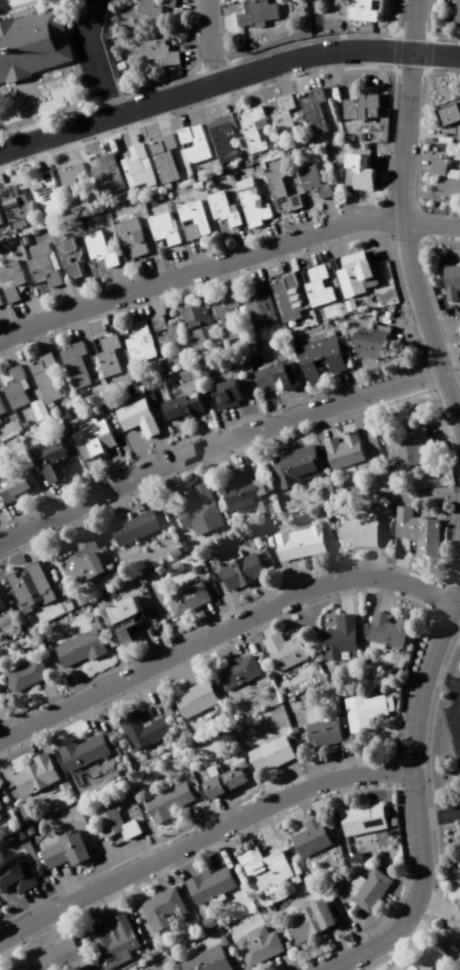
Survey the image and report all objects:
building: (156, 7)
building: (363, 11)
building: (259, 13)
building: (456, 14)
road: (413, 23)
road: (211, 36)
building: (31, 40)
parking lot: (89, 47)
road: (435, 50)
building: (160, 54)
road: (96, 55)
road: (370, 61)
road: (307, 63)
road: (275, 70)
road: (202, 79)
road: (247, 80)
road: (215, 89)
road: (175, 103)
building: (358, 103)
road: (157, 108)
building: (308, 108)
building: (279, 113)
building: (449, 113)
road: (127, 118)
building: (247, 127)
road: (96, 128)
building: (458, 133)
building: (220, 135)
road: (65, 139)
building: (189, 142)
road: (34, 149)
building: (161, 154)
road: (386, 158)
building: (132, 162)
building: (355, 169)
building: (103, 170)
building: (305, 176)
building: (446, 180)
building: (69, 181)
building: (276, 190)
building: (44, 193)
building: (250, 201)
building: (12, 205)
building: (216, 206)
road: (327, 209)
building: (188, 216)
road: (296, 222)
building: (0, 223)
building: (160, 225)
road: (270, 233)
road: (370, 234)
building: (126, 235)
road: (403, 238)
road: (238, 242)
building: (94, 246)
road: (382, 246)
road: (312, 247)
building: (62, 253)
road: (192, 257)
road: (278, 257)
road: (226, 258)
road: (178, 260)
building: (39, 263)
road: (251, 266)
building: (349, 270)
road: (144, 271)
road: (219, 275)
building: (7, 280)
road: (116, 280)
building: (313, 283)
building: (452, 284)
road: (181, 288)
road: (80, 293)
building: (283, 293)
road: (145, 299)
road: (59, 302)
building: (0, 305)
road: (128, 305)
building: (255, 306)
building: (220, 310)
road: (18, 317)
road: (100, 318)
building: (192, 320)
road: (68, 328)
road: (3, 329)
building: (160, 332)
building: (367, 339)
road: (35, 340)
building: (134, 340)
road: (6, 351)
building: (103, 354)
building: (318, 354)
building: (70, 363)
road: (375, 372)
building: (271, 373)
building: (40, 376)
road: (342, 382)
building: (9, 385)
building: (16, 390)
building: (223, 391)
road: (269, 401)
building: (177, 405)
building: (1, 410)
building: (133, 415)
road: (232, 417)
road: (323, 421)
road: (206, 426)
building: (87, 436)
road: (271, 438)
road: (214, 442)
road: (158, 447)
building: (347, 447)
road: (234, 450)
building: (400, 450)
road: (120, 460)
building: (45, 461)
building: (293, 464)
road: (191, 466)
building: (13, 484)
building: (239, 491)
road: (137, 492)
road: (59, 494)
building: (193, 512)
road: (13, 516)
road: (72, 521)
building: (412, 522)
building: (356, 527)
building: (131, 529)
building: (296, 540)
road: (17, 550)
road: (368, 558)
road: (400, 559)
building: (79, 567)
building: (238, 569)
road: (295, 574)
building: (25, 587)
road: (342, 589)
road: (384, 590)
building: (183, 597)
building: (1, 609)
building: (117, 616)
road: (215, 617)
road: (222, 627)
building: (382, 628)
building: (337, 634)
road: (224, 637)
road: (156, 638)
building: (75, 646)
building: (281, 649)
road: (405, 659)
road: (181, 664)
building: (234, 669)
building: (23, 673)
road: (451, 678)
road: (73, 683)
road: (143, 688)
road: (47, 696)
building: (192, 697)
building: (0, 705)
building: (361, 707)
road: (83, 712)
road: (396, 725)
building: (139, 727)
building: (319, 729)
parking lot: (451, 731)
road: (1, 736)
building: (79, 749)
building: (265, 751)
road: (335, 756)
road: (293, 769)
road: (2, 770)
building: (32, 773)
building: (221, 779)
road: (346, 787)
road: (418, 796)
building: (164, 799)
road: (302, 801)
road: (223, 805)
building: (1, 811)
road: (440, 812)
building: (1, 816)
road: (195, 816)
building: (360, 816)
building: (113, 820)
road: (263, 828)
road: (202, 834)
building: (308, 837)
building: (64, 846)
road: (139, 846)
road: (206, 851)
building: (264, 867)
road: (159, 872)
building: (14, 874)
road: (64, 877)
building: (206, 881)
building: (372, 893)
road: (109, 896)
road: (33, 899)
building: (159, 906)
building: (456, 920)
road: (54, 922)
building: (310, 923)
building: (110, 935)
building: (260, 948)
building: (56, 953)
building: (429, 960)
building: (208, 961)
building: (14, 966)

